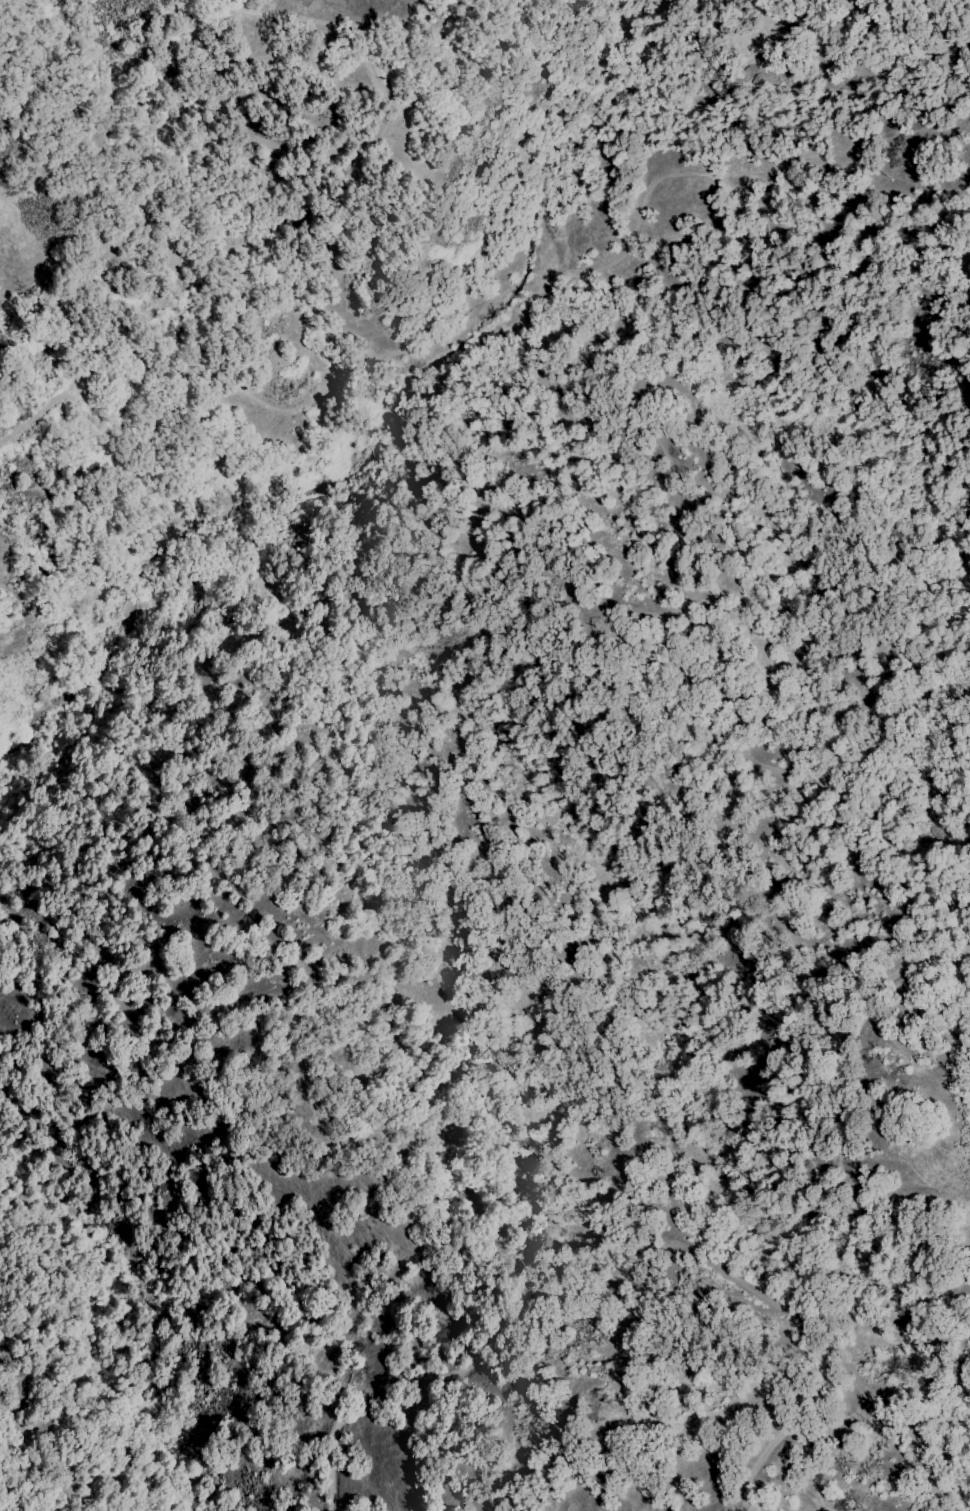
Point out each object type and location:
road: (840, 1356)
road: (476, 1366)

